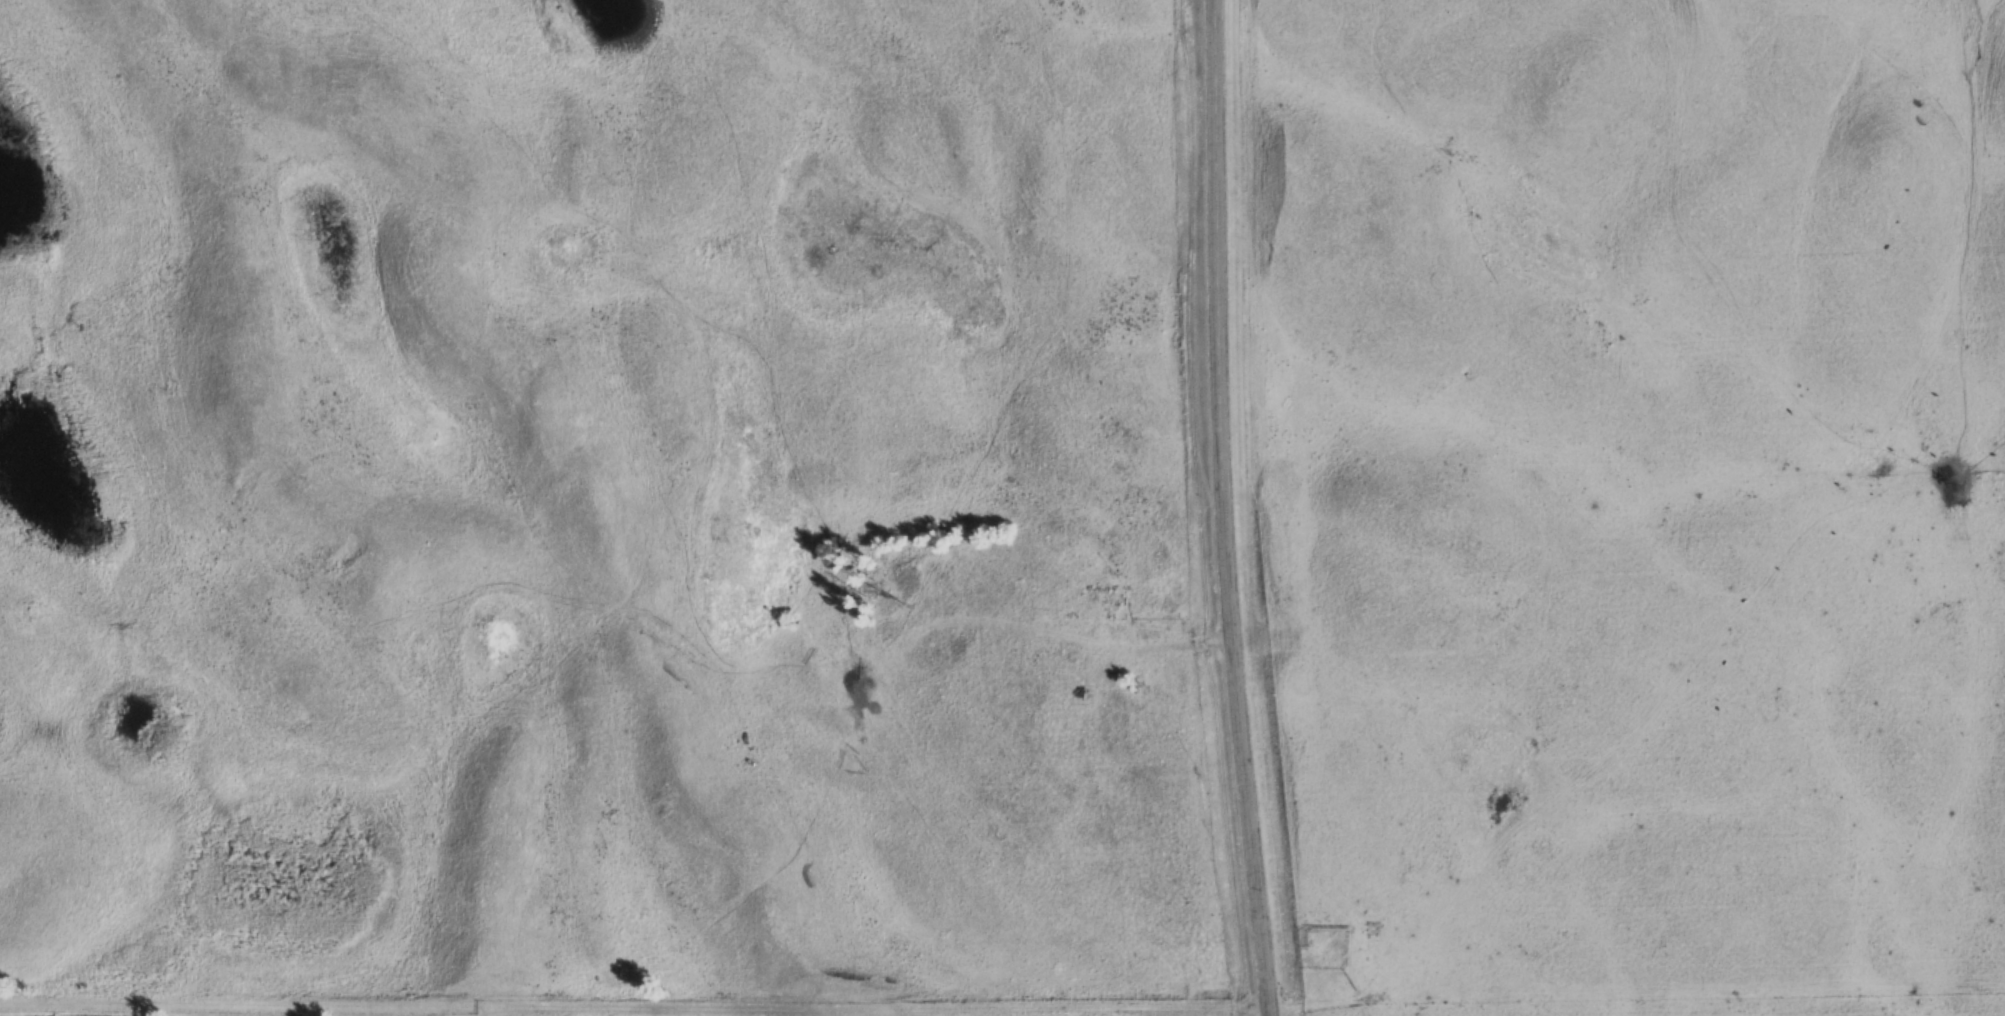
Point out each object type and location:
road: (1221, 509)
road: (633, 1011)

